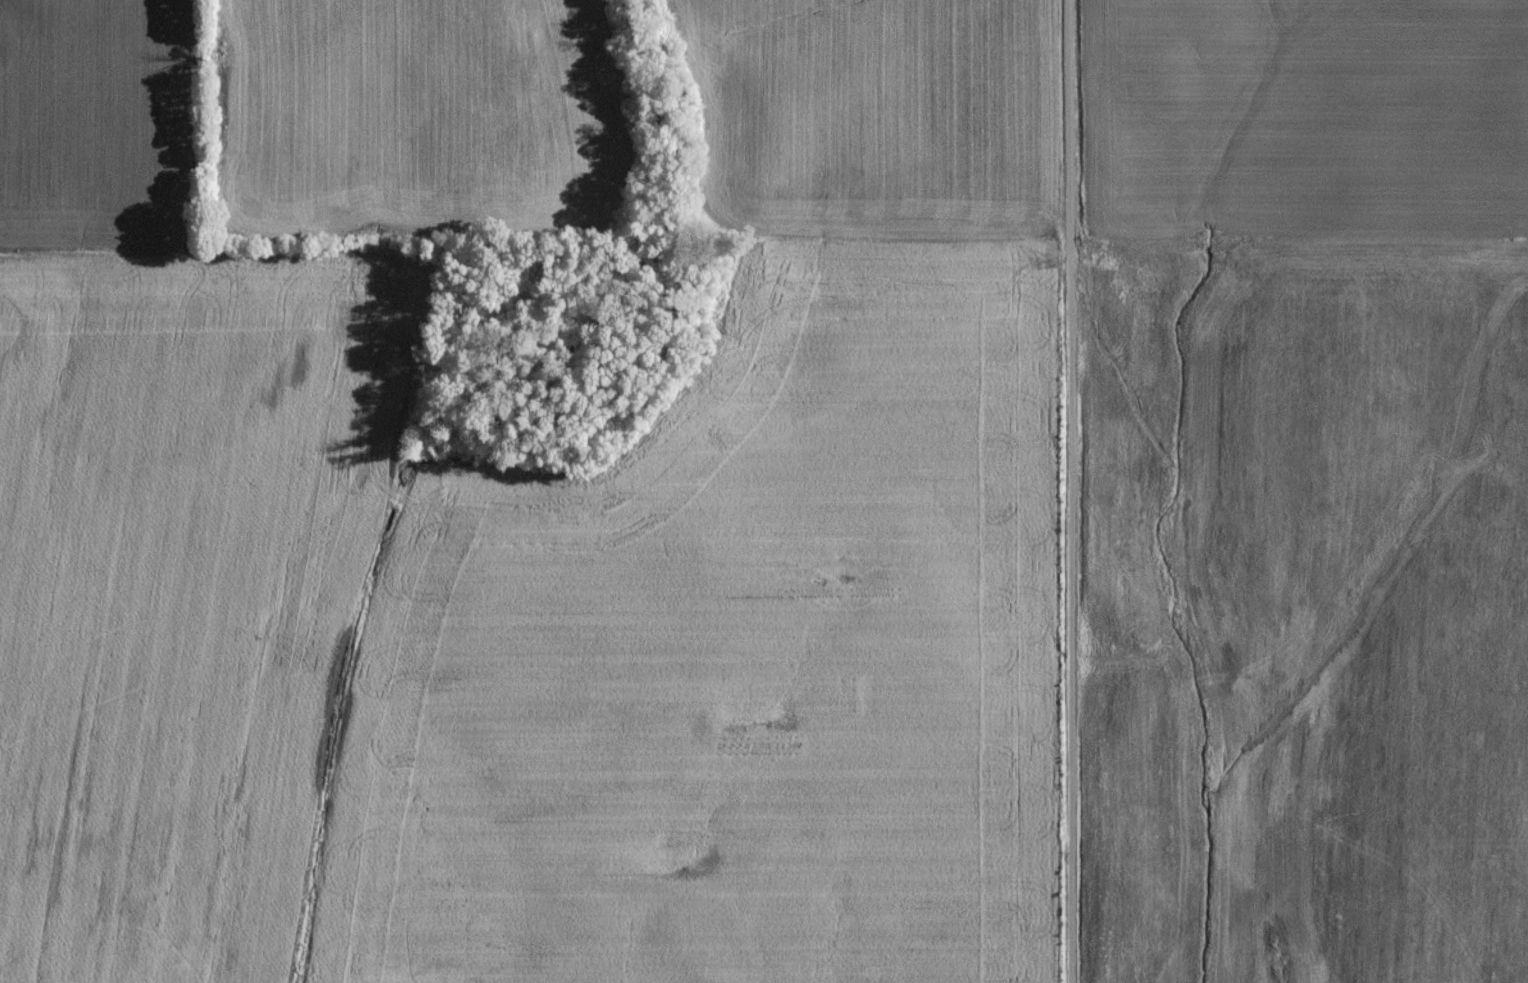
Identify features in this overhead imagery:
road: (1073, 491)

